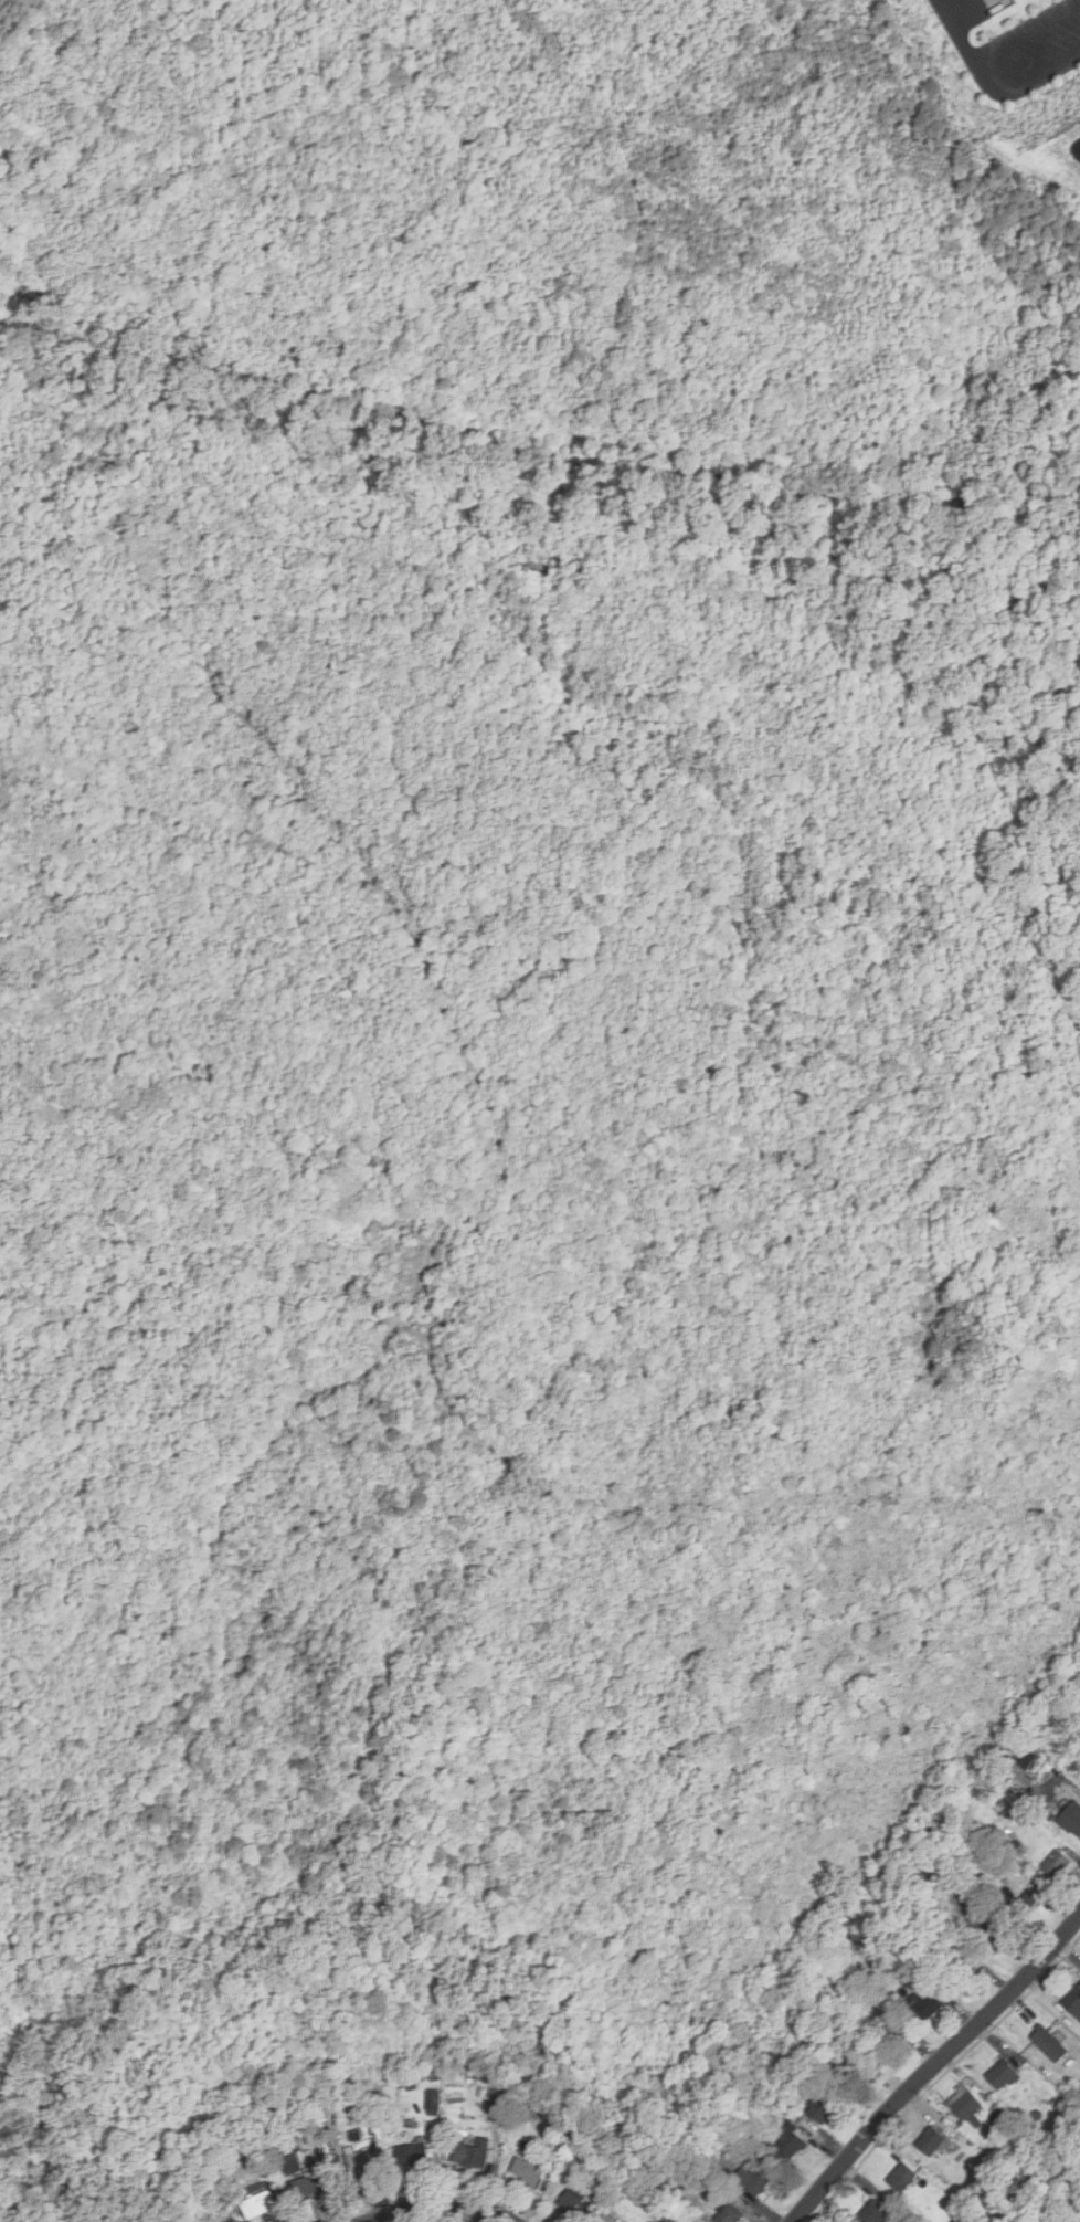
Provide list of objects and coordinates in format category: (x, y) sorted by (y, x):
building: (1072, 1818)
building: (1057, 1863)
building: (1025, 1906)
building: (996, 1937)
building: (962, 1971)
building: (1073, 2001)
building: (923, 2004)
building: (890, 2037)
building: (1050, 2044)
road: (933, 2065)
building: (856, 2072)
building: (1002, 2074)
building: (500, 2094)
building: (434, 2099)
building: (964, 2102)
building: (823, 2107)
building: (931, 2139)
building: (788, 2141)
building: (470, 2150)
building: (412, 2153)
building: (288, 2159)
building: (362, 2163)
building: (526, 2172)
building: (902, 2177)
building: (756, 2179)
building: (307, 2186)
building: (258, 2204)
building: (575, 2204)
road: (443, 2207)
building: (876, 2212)
building: (728, 2214)

